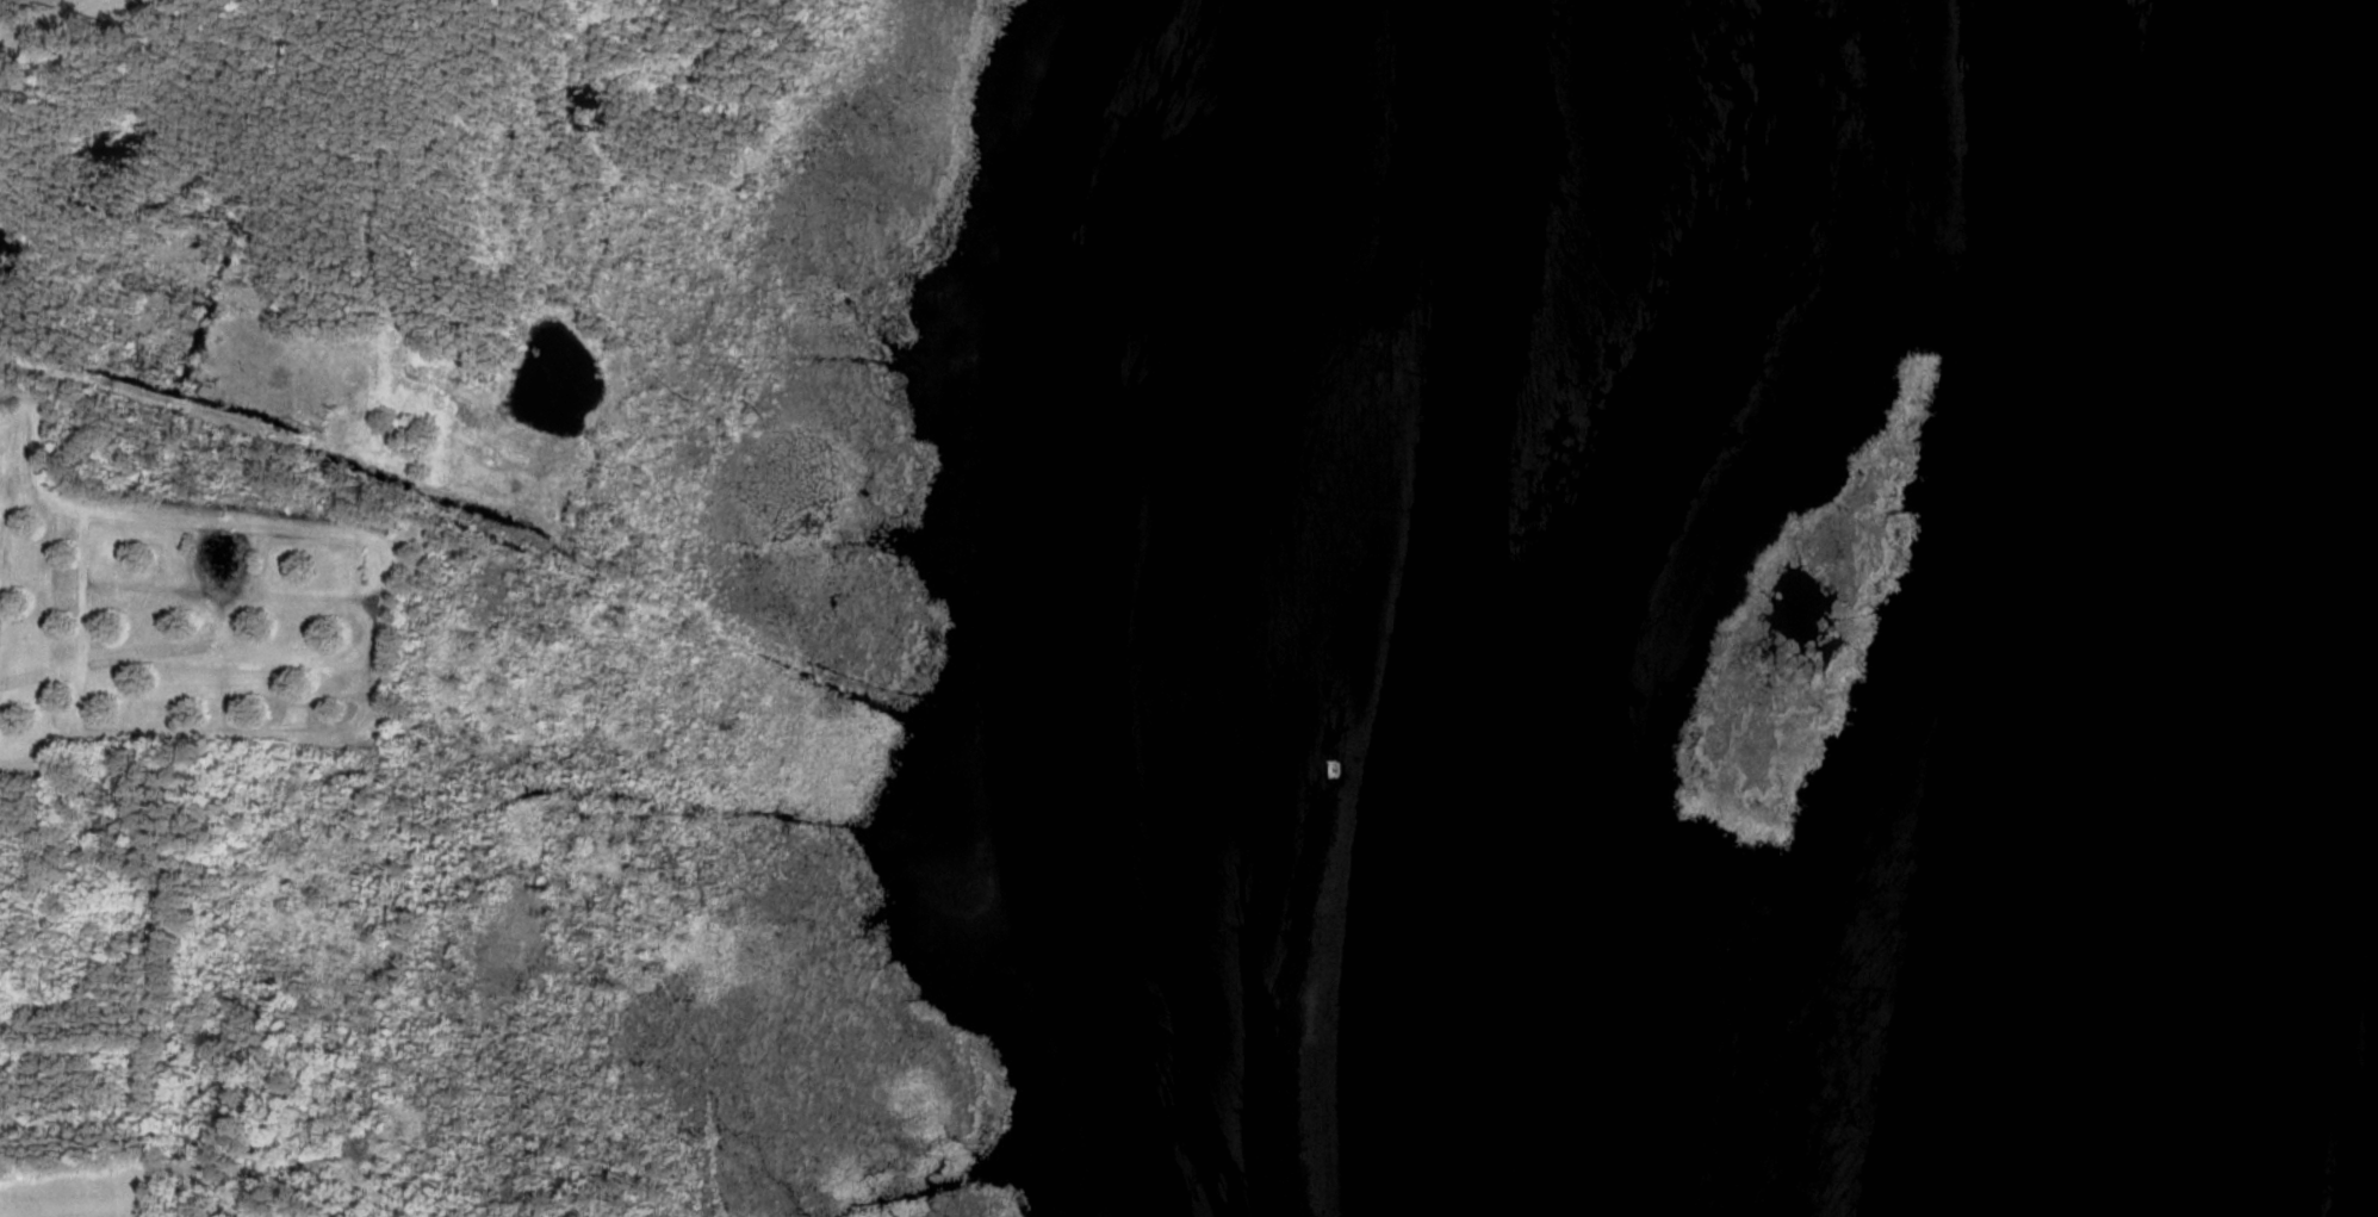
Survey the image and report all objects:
road: (2, 1)
road: (236, 421)
road: (35, 448)
road: (359, 727)
river: (2260, 857)

